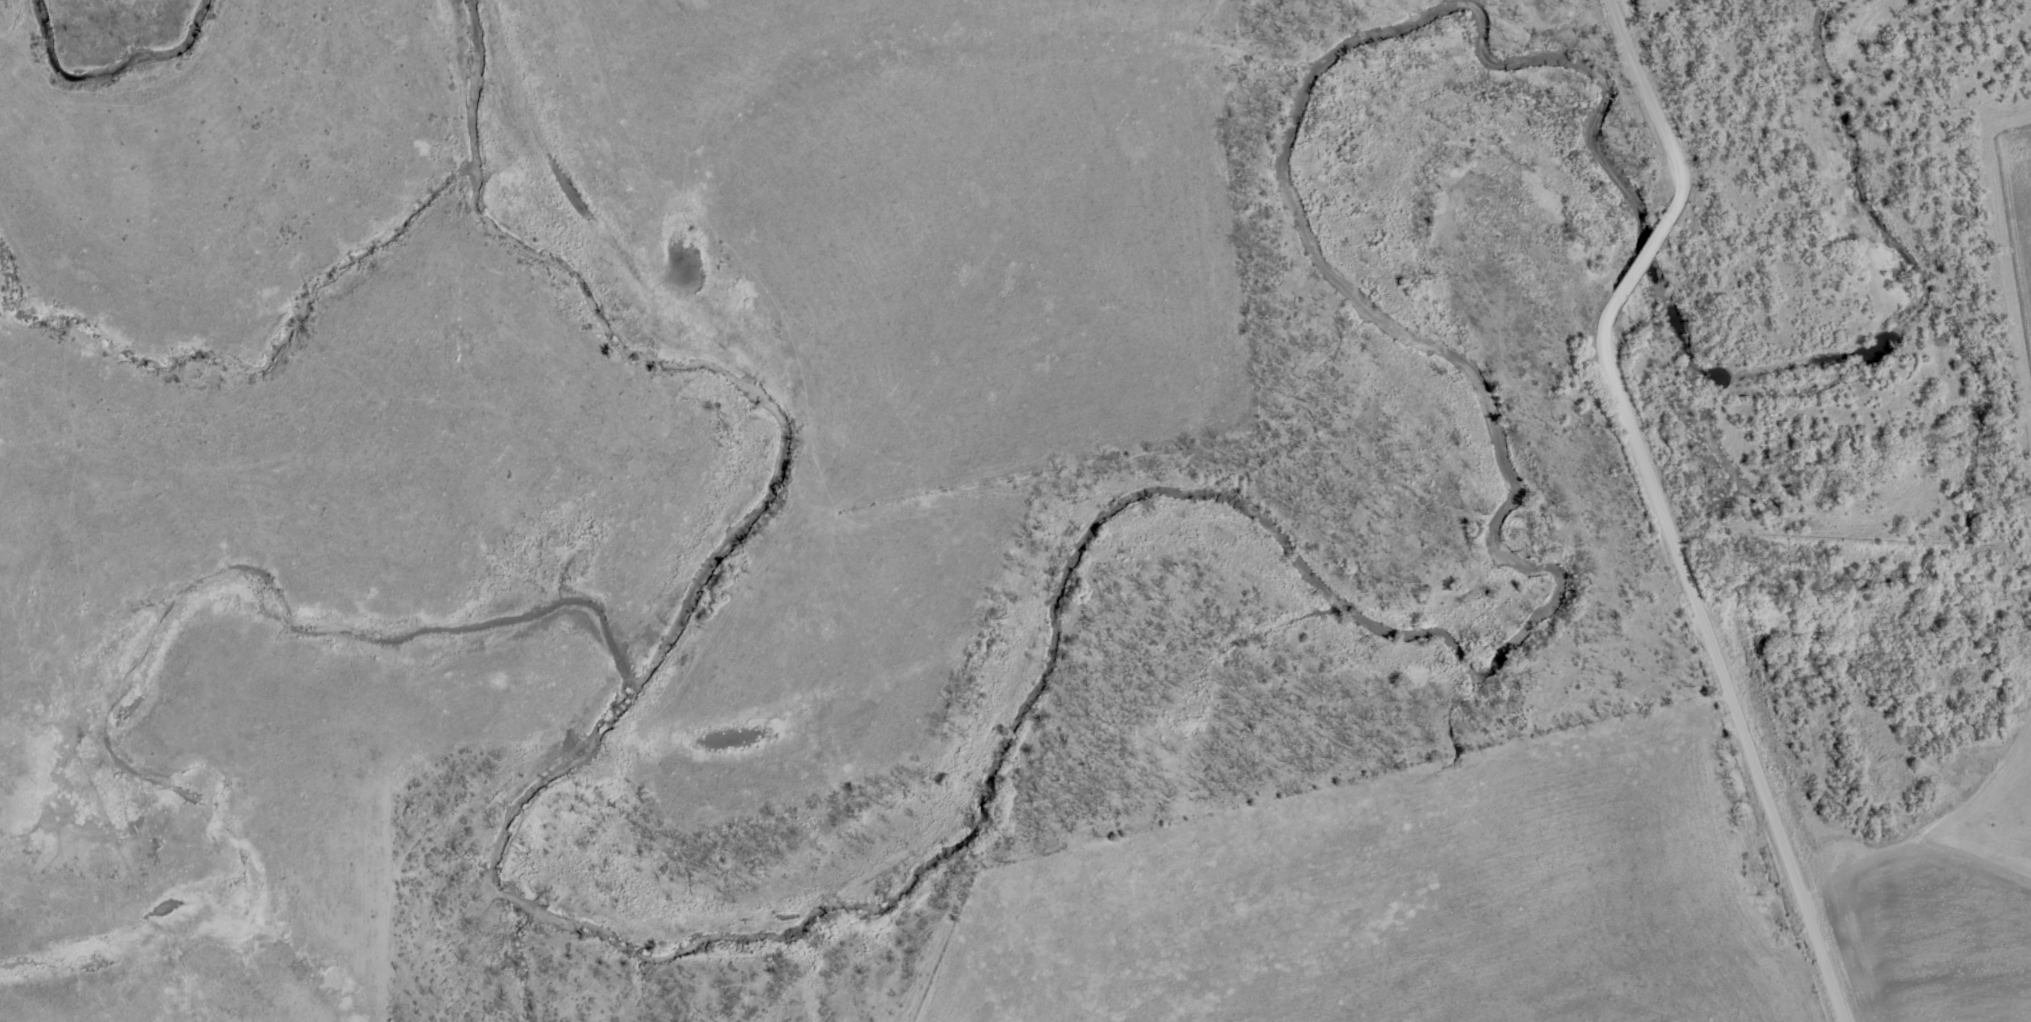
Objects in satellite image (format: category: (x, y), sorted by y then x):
road: (1655, 488)

